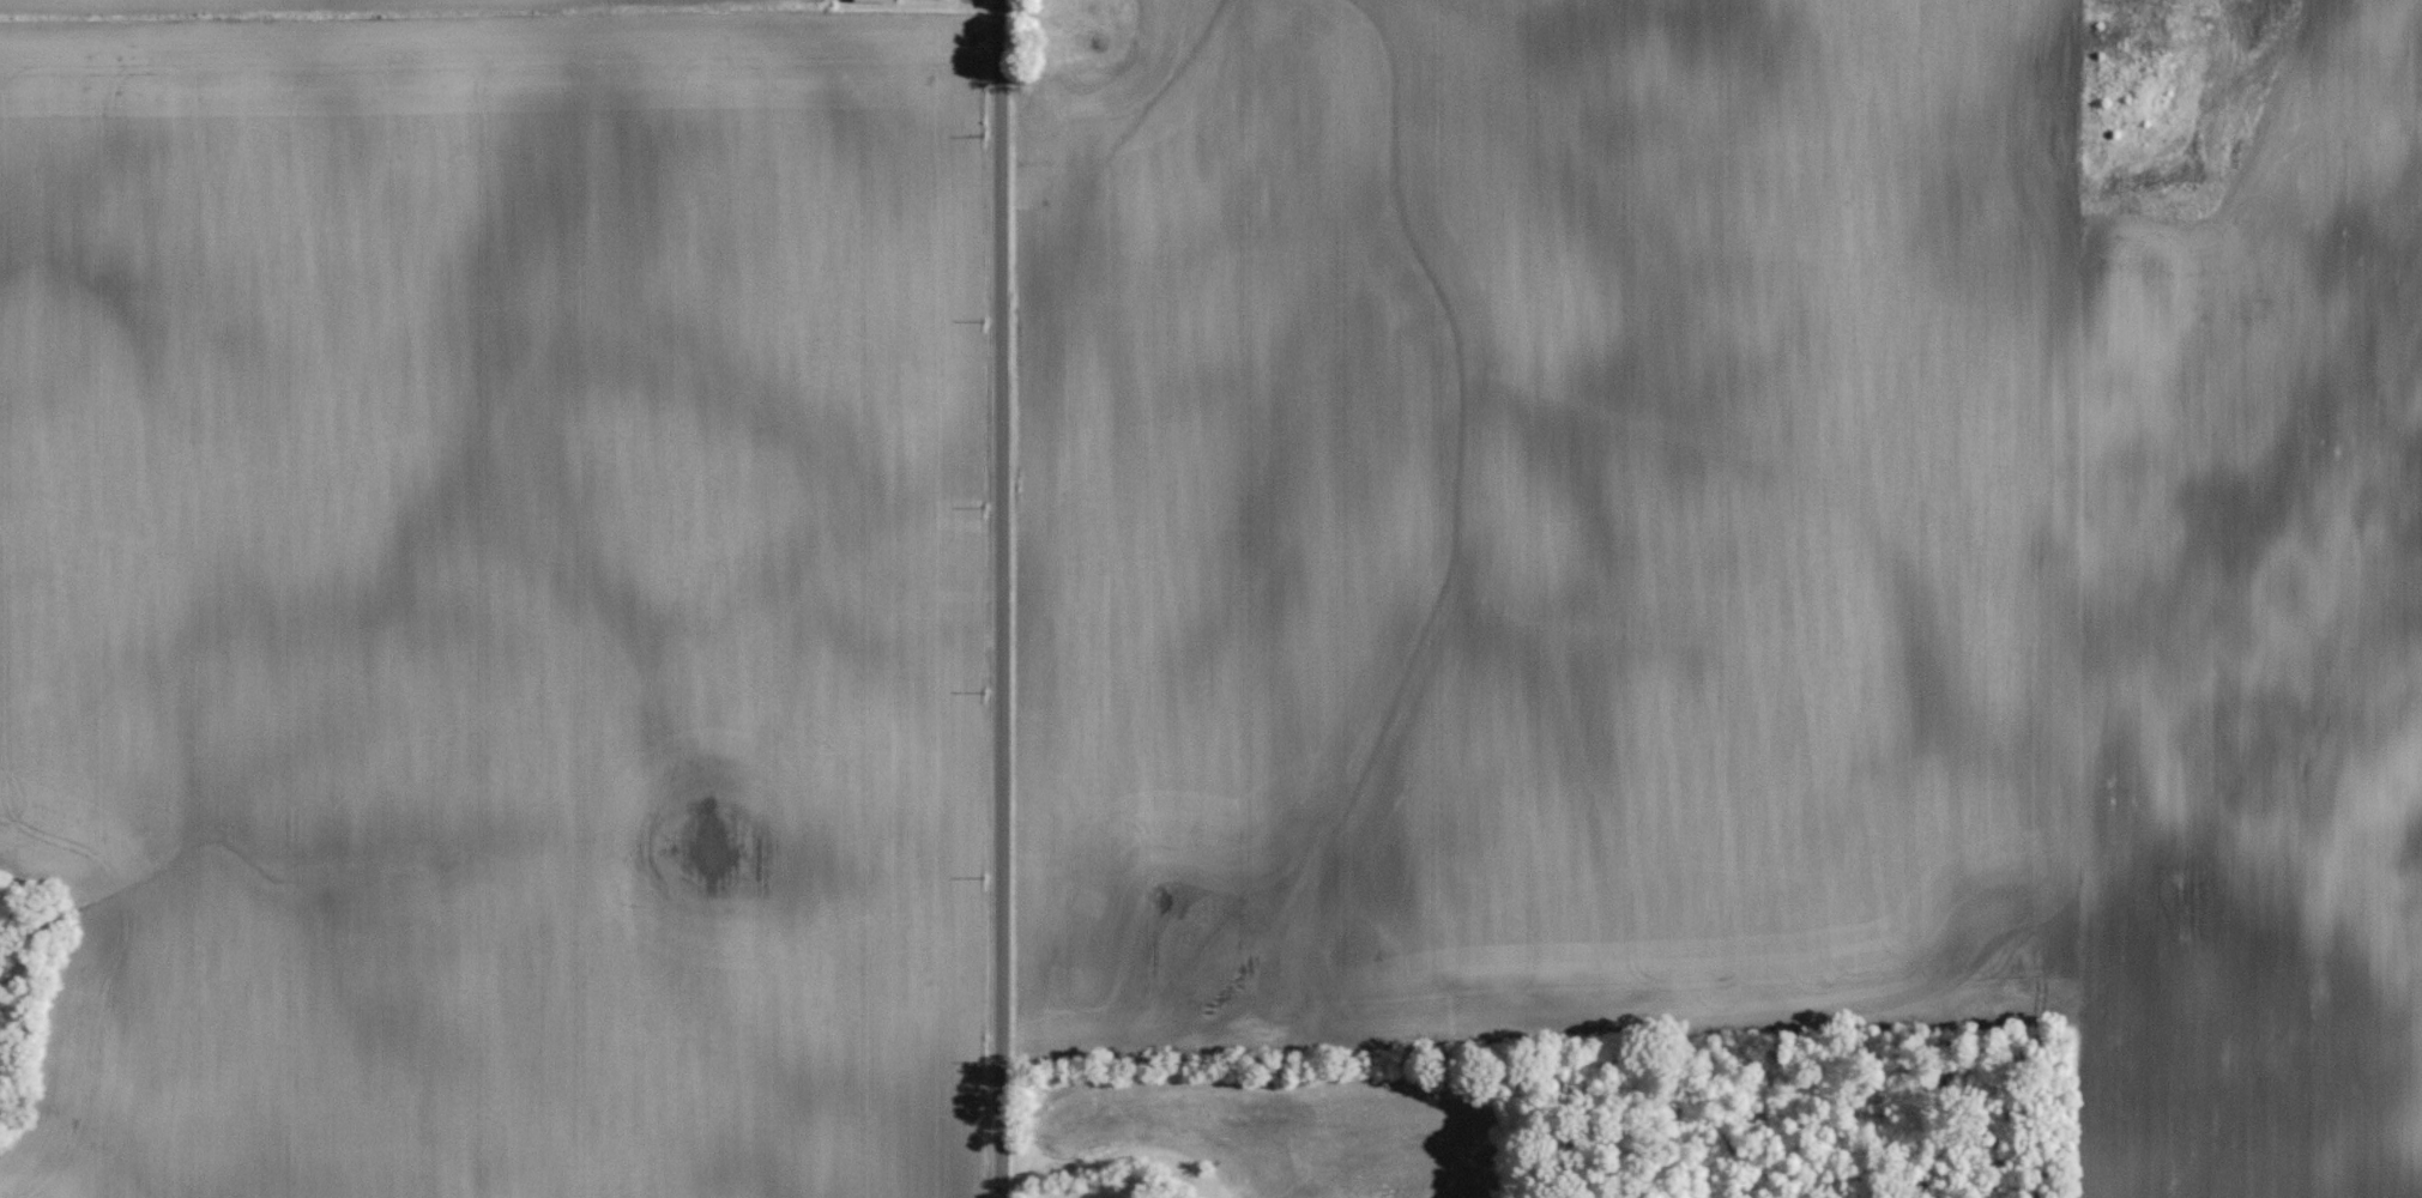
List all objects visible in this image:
road: (995, 599)

